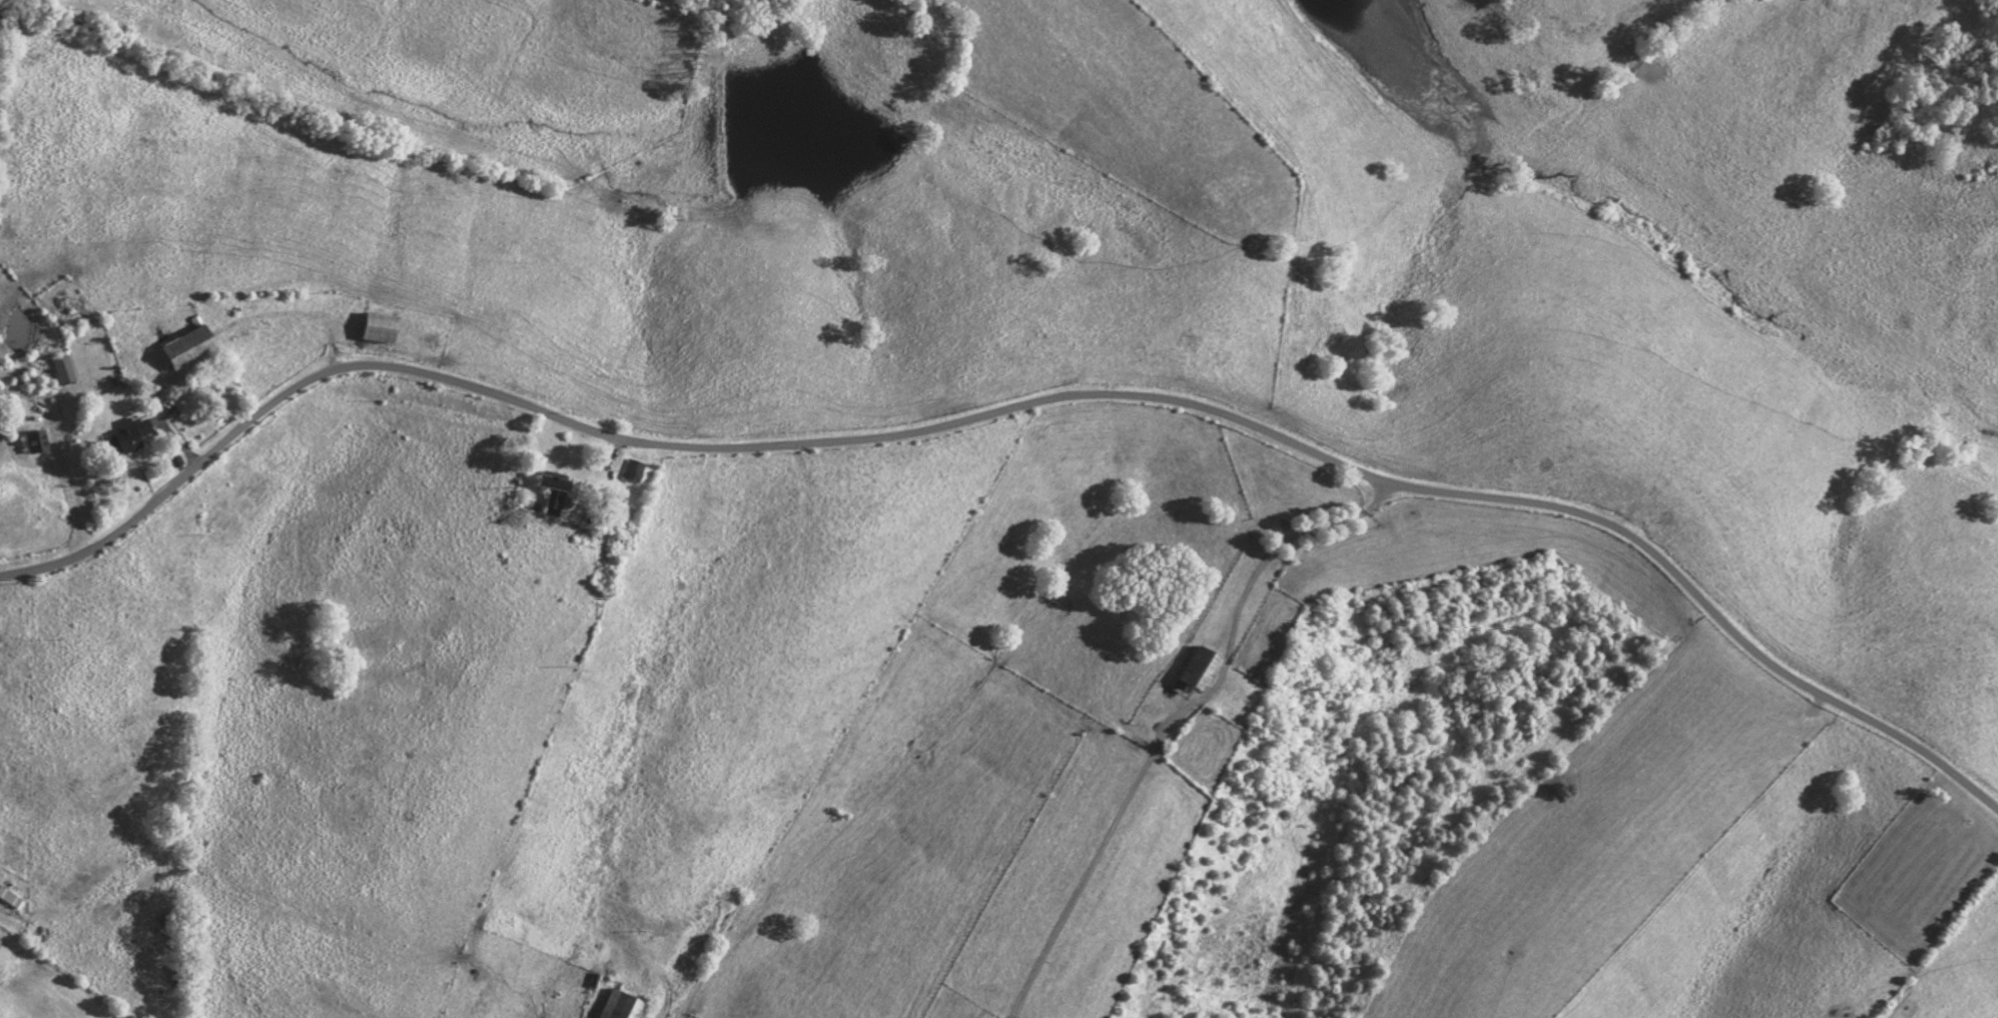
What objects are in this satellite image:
building: (188, 347)
road: (1017, 409)
building: (129, 436)
building: (634, 472)
building: (1202, 669)
road: (1176, 719)
building: (9, 896)
building: (623, 1006)

